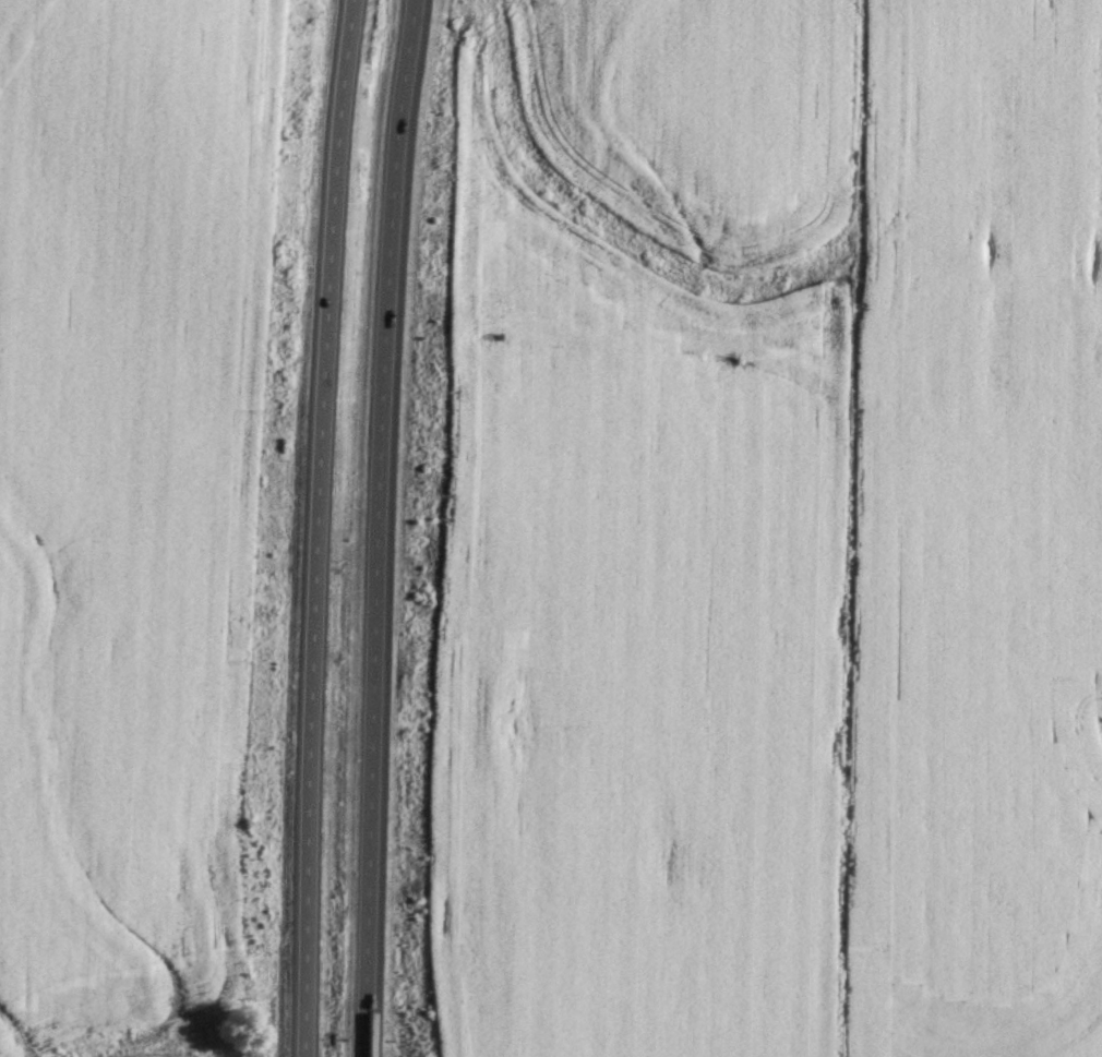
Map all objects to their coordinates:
road: (315, 527)
road: (382, 528)

